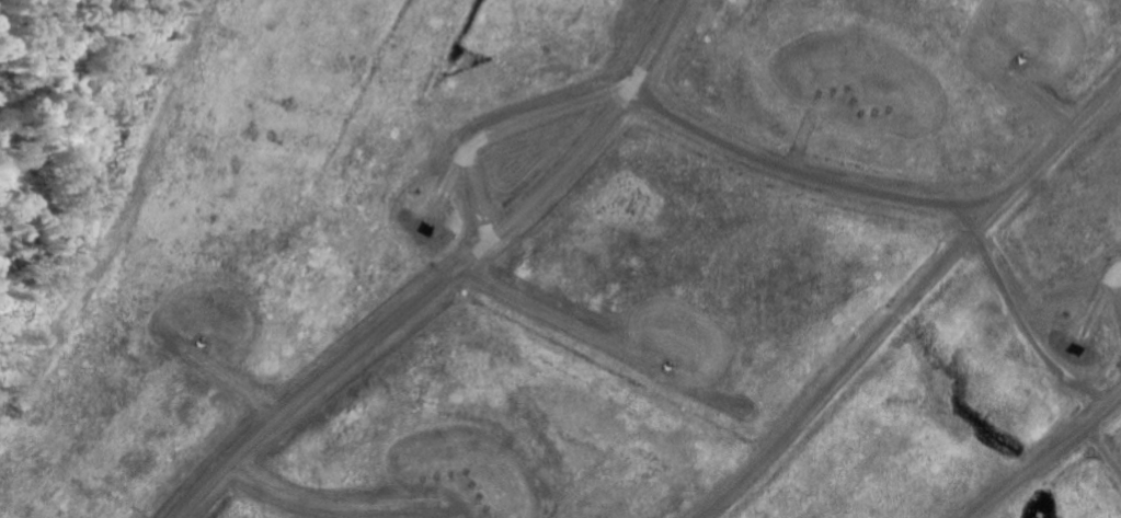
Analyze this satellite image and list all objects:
road: (1064, 139)

